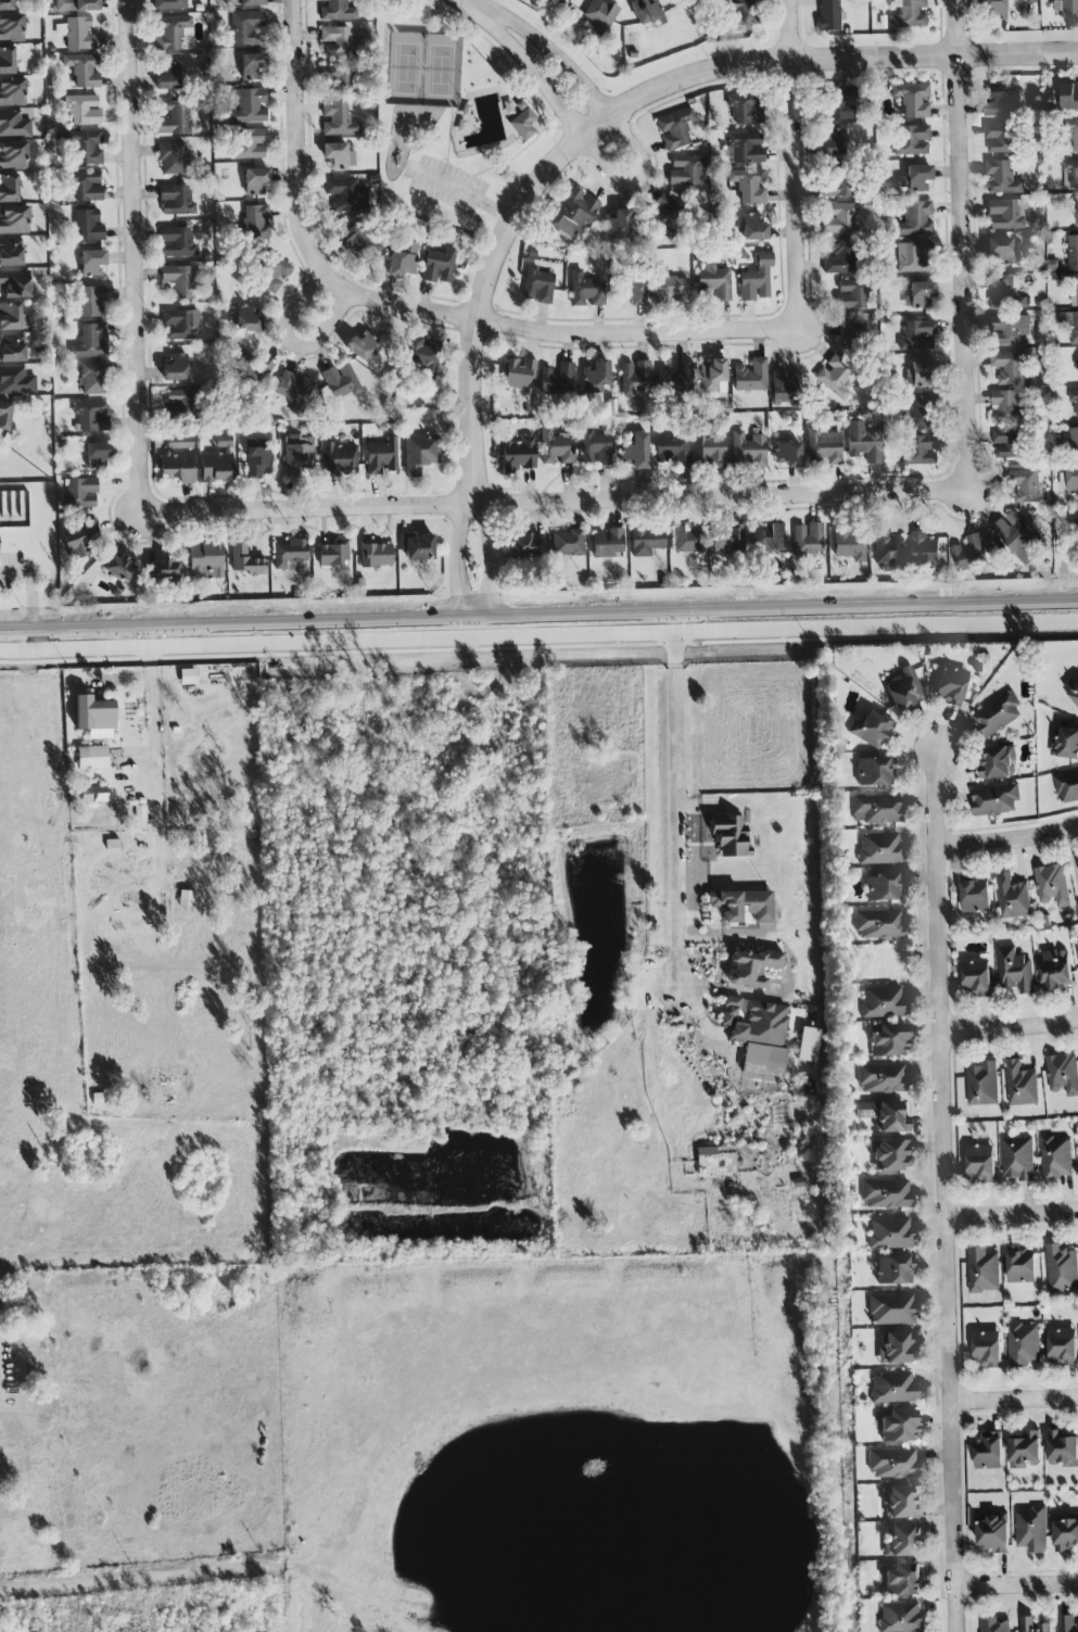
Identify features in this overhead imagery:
building: (251, 2)
building: (169, 4)
building: (5, 5)
building: (75, 5)
building: (1066, 9)
building: (991, 10)
building: (334, 11)
building: (647, 12)
building: (741, 13)
building: (908, 14)
building: (828, 15)
building: (598, 17)
building: (11, 28)
building: (245, 28)
building: (169, 33)
building: (76, 34)
building: (335, 42)
road: (547, 52)
building: (7, 61)
building: (252, 66)
park: (423, 68)
building: (83, 71)
building: (167, 78)
building: (335, 79)
road: (547, 88)
building: (12, 92)
building: (1068, 96)
building: (912, 101)
building: (1001, 101)
building: (839, 103)
building: (249, 106)
building: (745, 109)
building: (81, 110)
building: (175, 118)
building: (337, 119)
building: (13, 125)
building: (522, 125)
building: (674, 129)
building: (1074, 135)
building: (1000, 137)
building: (911, 141)
building: (249, 143)
building: (832, 143)
road: (574, 146)
building: (86, 148)
building: (746, 149)
building: (338, 155)
building: (12, 156)
road: (296, 157)
building: (172, 159)
road: (792, 159)
road: (644, 161)
building: (685, 170)
building: (1071, 172)
building: (1001, 177)
building: (914, 179)
building: (256, 182)
building: (839, 182)
building: (748, 185)
building: (84, 186)
parking lot: (447, 186)
building: (9, 189)
building: (345, 194)
road: (466, 198)
building: (175, 201)
building: (573, 213)
building: (1076, 213)
building: (1005, 214)
building: (662, 216)
building: (840, 218)
building: (914, 219)
building: (13, 220)
building: (255, 220)
building: (616, 223)
building: (87, 226)
building: (752, 227)
building: (356, 241)
building: (176, 243)
road: (960, 245)
building: (1073, 250)
building: (10, 252)
building: (1000, 252)
building: (912, 257)
building: (840, 258)
road: (134, 260)
building: (402, 261)
building: (91, 264)
building: (437, 266)
building: (272, 274)
building: (178, 280)
building: (756, 280)
building: (713, 283)
building: (1076, 283)
building: (14, 284)
building: (537, 286)
building: (669, 288)
building: (584, 291)
building: (629, 292)
building: (1004, 292)
building: (851, 295)
building: (918, 296)
building: (90, 302)
building: (12, 317)
building: (245, 319)
building: (180, 325)
building: (1069, 325)
building: (1009, 330)
building: (850, 331)
building: (916, 336)
road: (574, 338)
building: (90, 342)
road: (292, 344)
building: (362, 346)
building: (12, 349)
building: (419, 354)
building: (1077, 360)
building: (1007, 367)
building: (175, 368)
building: (250, 370)
building: (517, 375)
building: (920, 375)
building: (750, 376)
building: (834, 376)
building: (712, 377)
building: (596, 378)
building: (674, 378)
building: (93, 379)
building: (634, 379)
building: (557, 380)
building: (15, 381)
building: (340, 381)
building: (786, 389)
building: (293, 390)
building: (1074, 401)
building: (179, 402)
building: (1005, 407)
building: (915, 413)
building: (4, 415)
building: (90, 416)
building: (863, 440)
building: (1074, 442)
building: (1006, 443)
building: (556, 447)
building: (594, 448)
building: (823, 448)
building: (672, 451)
building: (708, 451)
building: (747, 451)
building: (920, 451)
building: (635, 452)
building: (419, 454)
building: (518, 454)
building: (97, 455)
building: (296, 455)
building: (787, 455)
building: (381, 457)
building: (178, 459)
building: (257, 459)
building: (340, 459)
building: (217, 463)
building: (1068, 481)
building: (1023, 484)
building: (80, 494)
road: (553, 506)
building: (1077, 519)
building: (1016, 534)
building: (766, 539)
building: (726, 540)
building: (807, 540)
building: (686, 541)
building: (645, 542)
building: (78, 543)
building: (568, 543)
building: (607, 543)
building: (848, 543)
building: (525, 546)
building: (418, 548)
building: (924, 548)
building: (887, 549)
building: (288, 553)
building: (969, 553)
building: (333, 554)
building: (375, 556)
building: (244, 560)
building: (204, 561)
building: (117, 567)
building: (163, 570)
road: (29, 589)
road: (777, 591)
road: (538, 612)
road: (877, 615)
road: (778, 630)
road: (413, 641)
road: (173, 647)
building: (188, 676)
building: (950, 685)
building: (1071, 690)
building: (903, 691)
road: (151, 706)
building: (998, 714)
building: (97, 717)
building: (871, 730)
building: (1066, 744)
building: (91, 759)
building: (998, 762)
building: (874, 772)
building: (1067, 786)
building: (93, 795)
building: (994, 799)
building: (875, 810)
road: (676, 815)
building: (140, 818)
building: (728, 835)
road: (1007, 838)
building: (879, 849)
building: (1051, 884)
building: (884, 887)
building: (975, 894)
building: (1012, 897)
building: (1077, 903)
building: (724, 907)
building: (879, 925)
building: (1077, 945)
building: (751, 969)
building: (1014, 970)
building: (1055, 970)
building: (976, 977)
crop: (132, 998)
building: (883, 1003)
building: (753, 1022)
road: (1010, 1028)
building: (888, 1041)
building: (810, 1046)
building: (763, 1061)
building: (1063, 1074)
building: (883, 1079)
building: (982, 1084)
building: (1020, 1085)
building: (885, 1116)
building: (890, 1156)
building: (1055, 1157)
building: (1017, 1159)
building: (980, 1163)
road: (947, 1189)
building: (886, 1194)
road: (1013, 1214)
building: (890, 1234)
building: (1022, 1264)
building: (1062, 1268)
building: (982, 1270)
building: (895, 1272)
building: (891, 1310)
building: (1024, 1344)
building: (1062, 1346)
building: (987, 1349)
building: (896, 1350)
building: (893, 1389)
road: (1015, 1399)
building: (1024, 1448)
building: (1062, 1450)
building: (988, 1452)
building: (892, 1465)
building: (900, 1503)
building: (1031, 1529)
building: (1065, 1532)
building: (993, 1533)
building: (900, 1542)
road: (216, 1573)
building: (902, 1580)
road: (1017, 1586)
building: (900, 1617)
building: (1026, 1621)
building: (1068, 1623)
building: (995, 1625)

